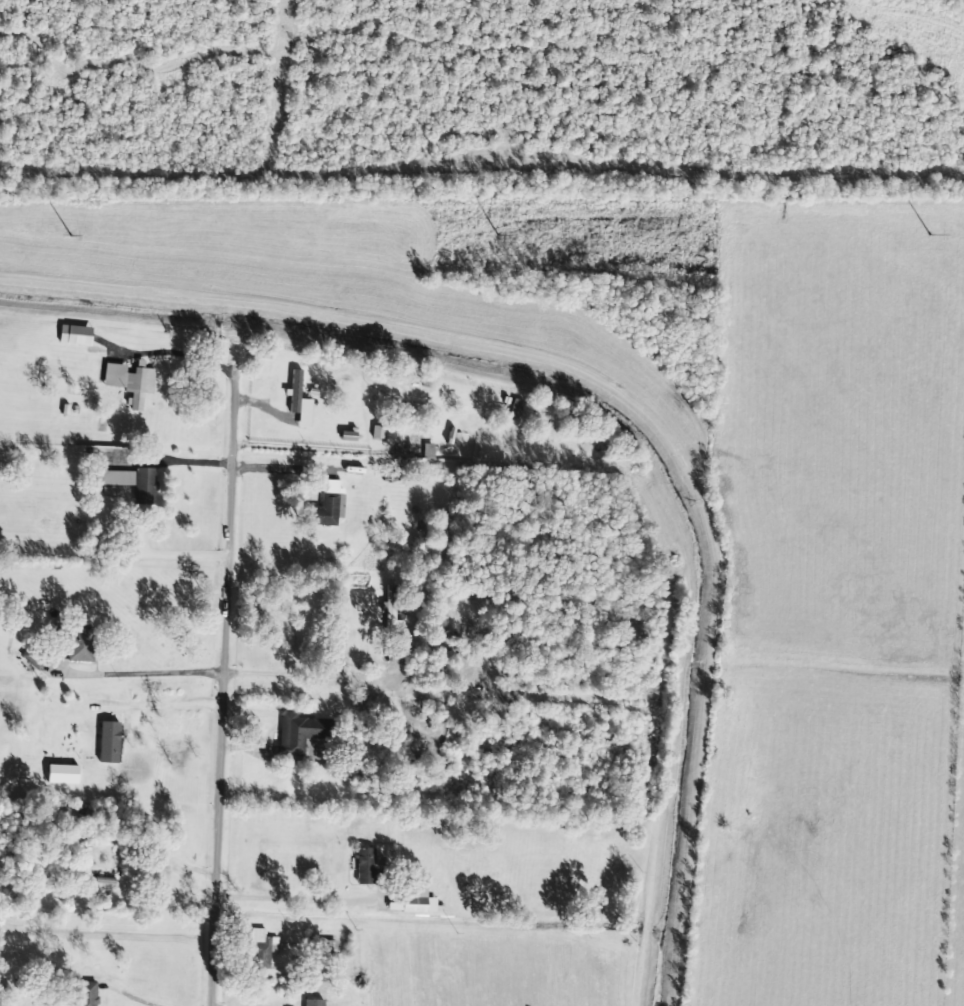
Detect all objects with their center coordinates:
building: (75, 334)
building: (131, 381)
building: (299, 401)
building: (116, 477)
building: (145, 485)
building: (327, 504)
building: (392, 610)
building: (81, 644)
road: (223, 688)
building: (296, 733)
building: (109, 742)
building: (62, 773)
building: (365, 865)
building: (418, 900)
building: (261, 948)
building: (327, 948)
building: (86, 993)
road: (137, 1000)
building: (313, 1002)

